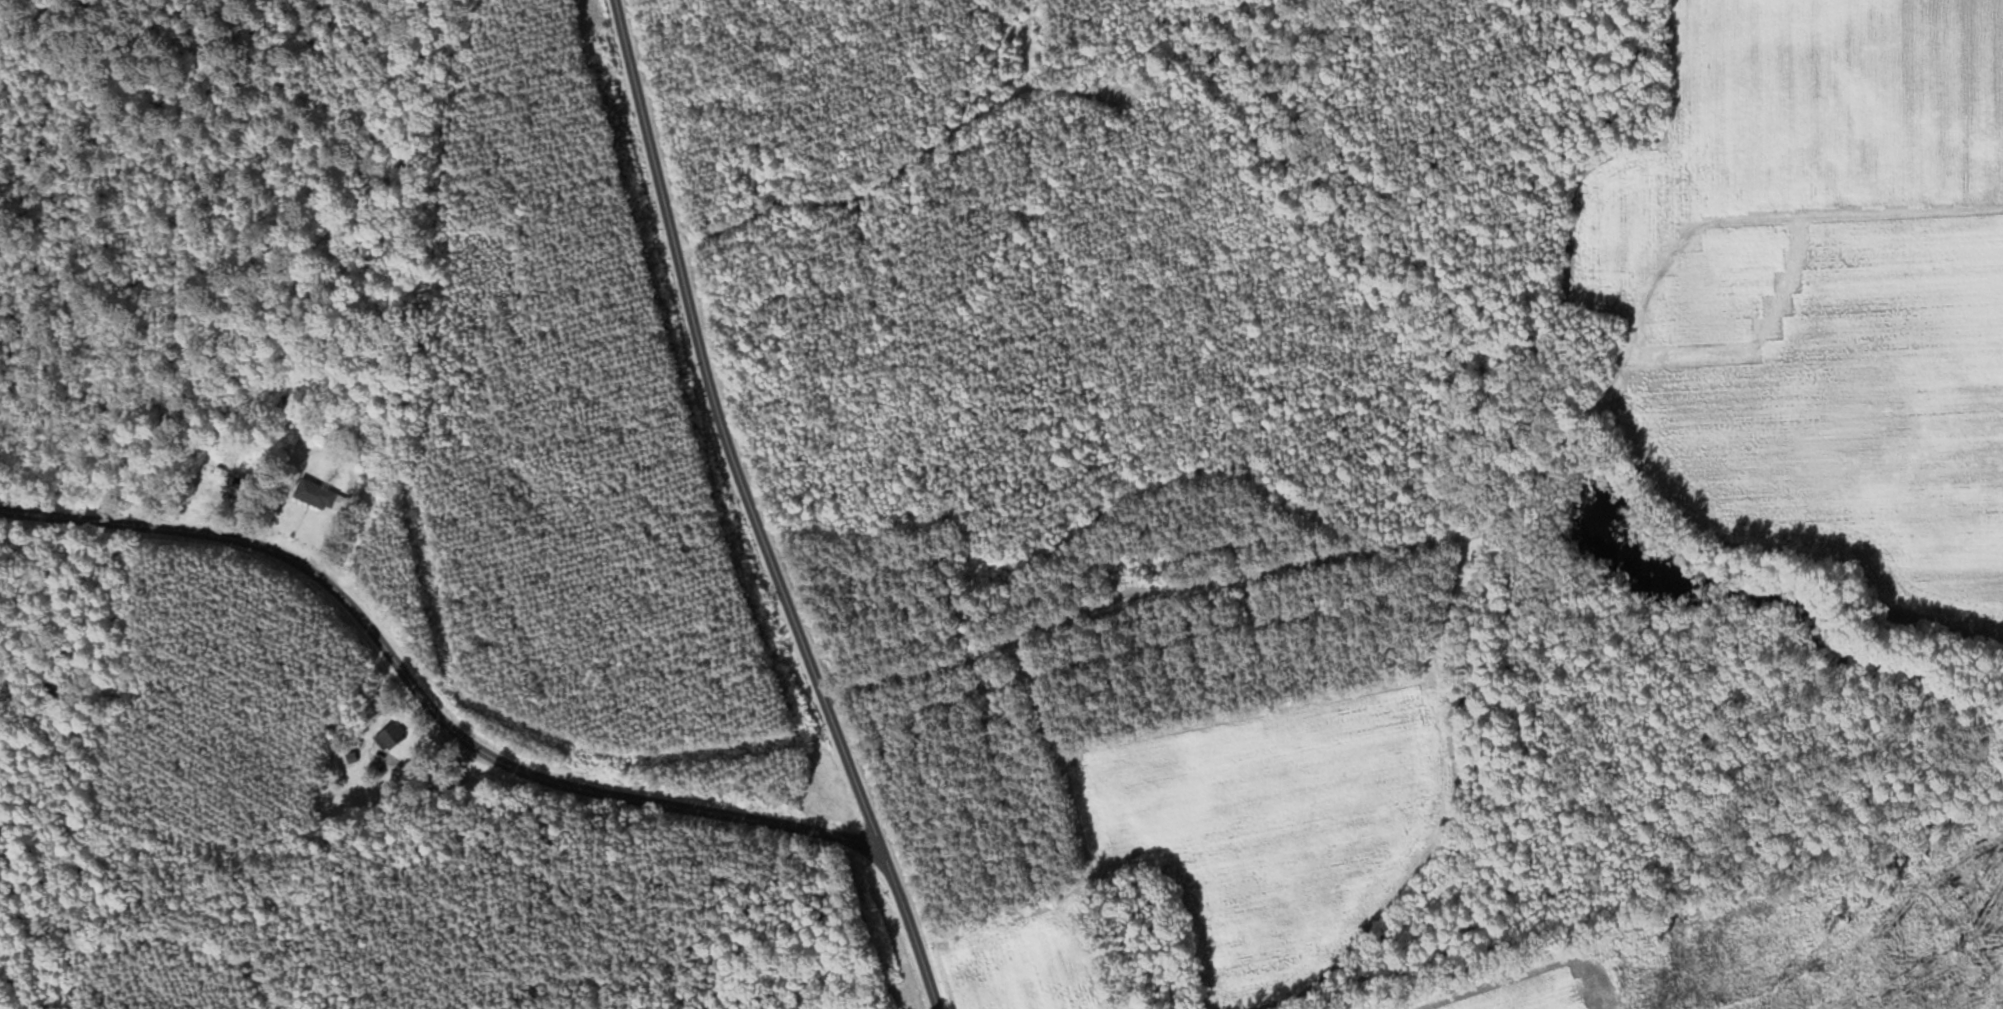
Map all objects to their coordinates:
building: (321, 498)
road: (753, 512)
road: (1295, 513)
road: (423, 703)
building: (389, 738)

